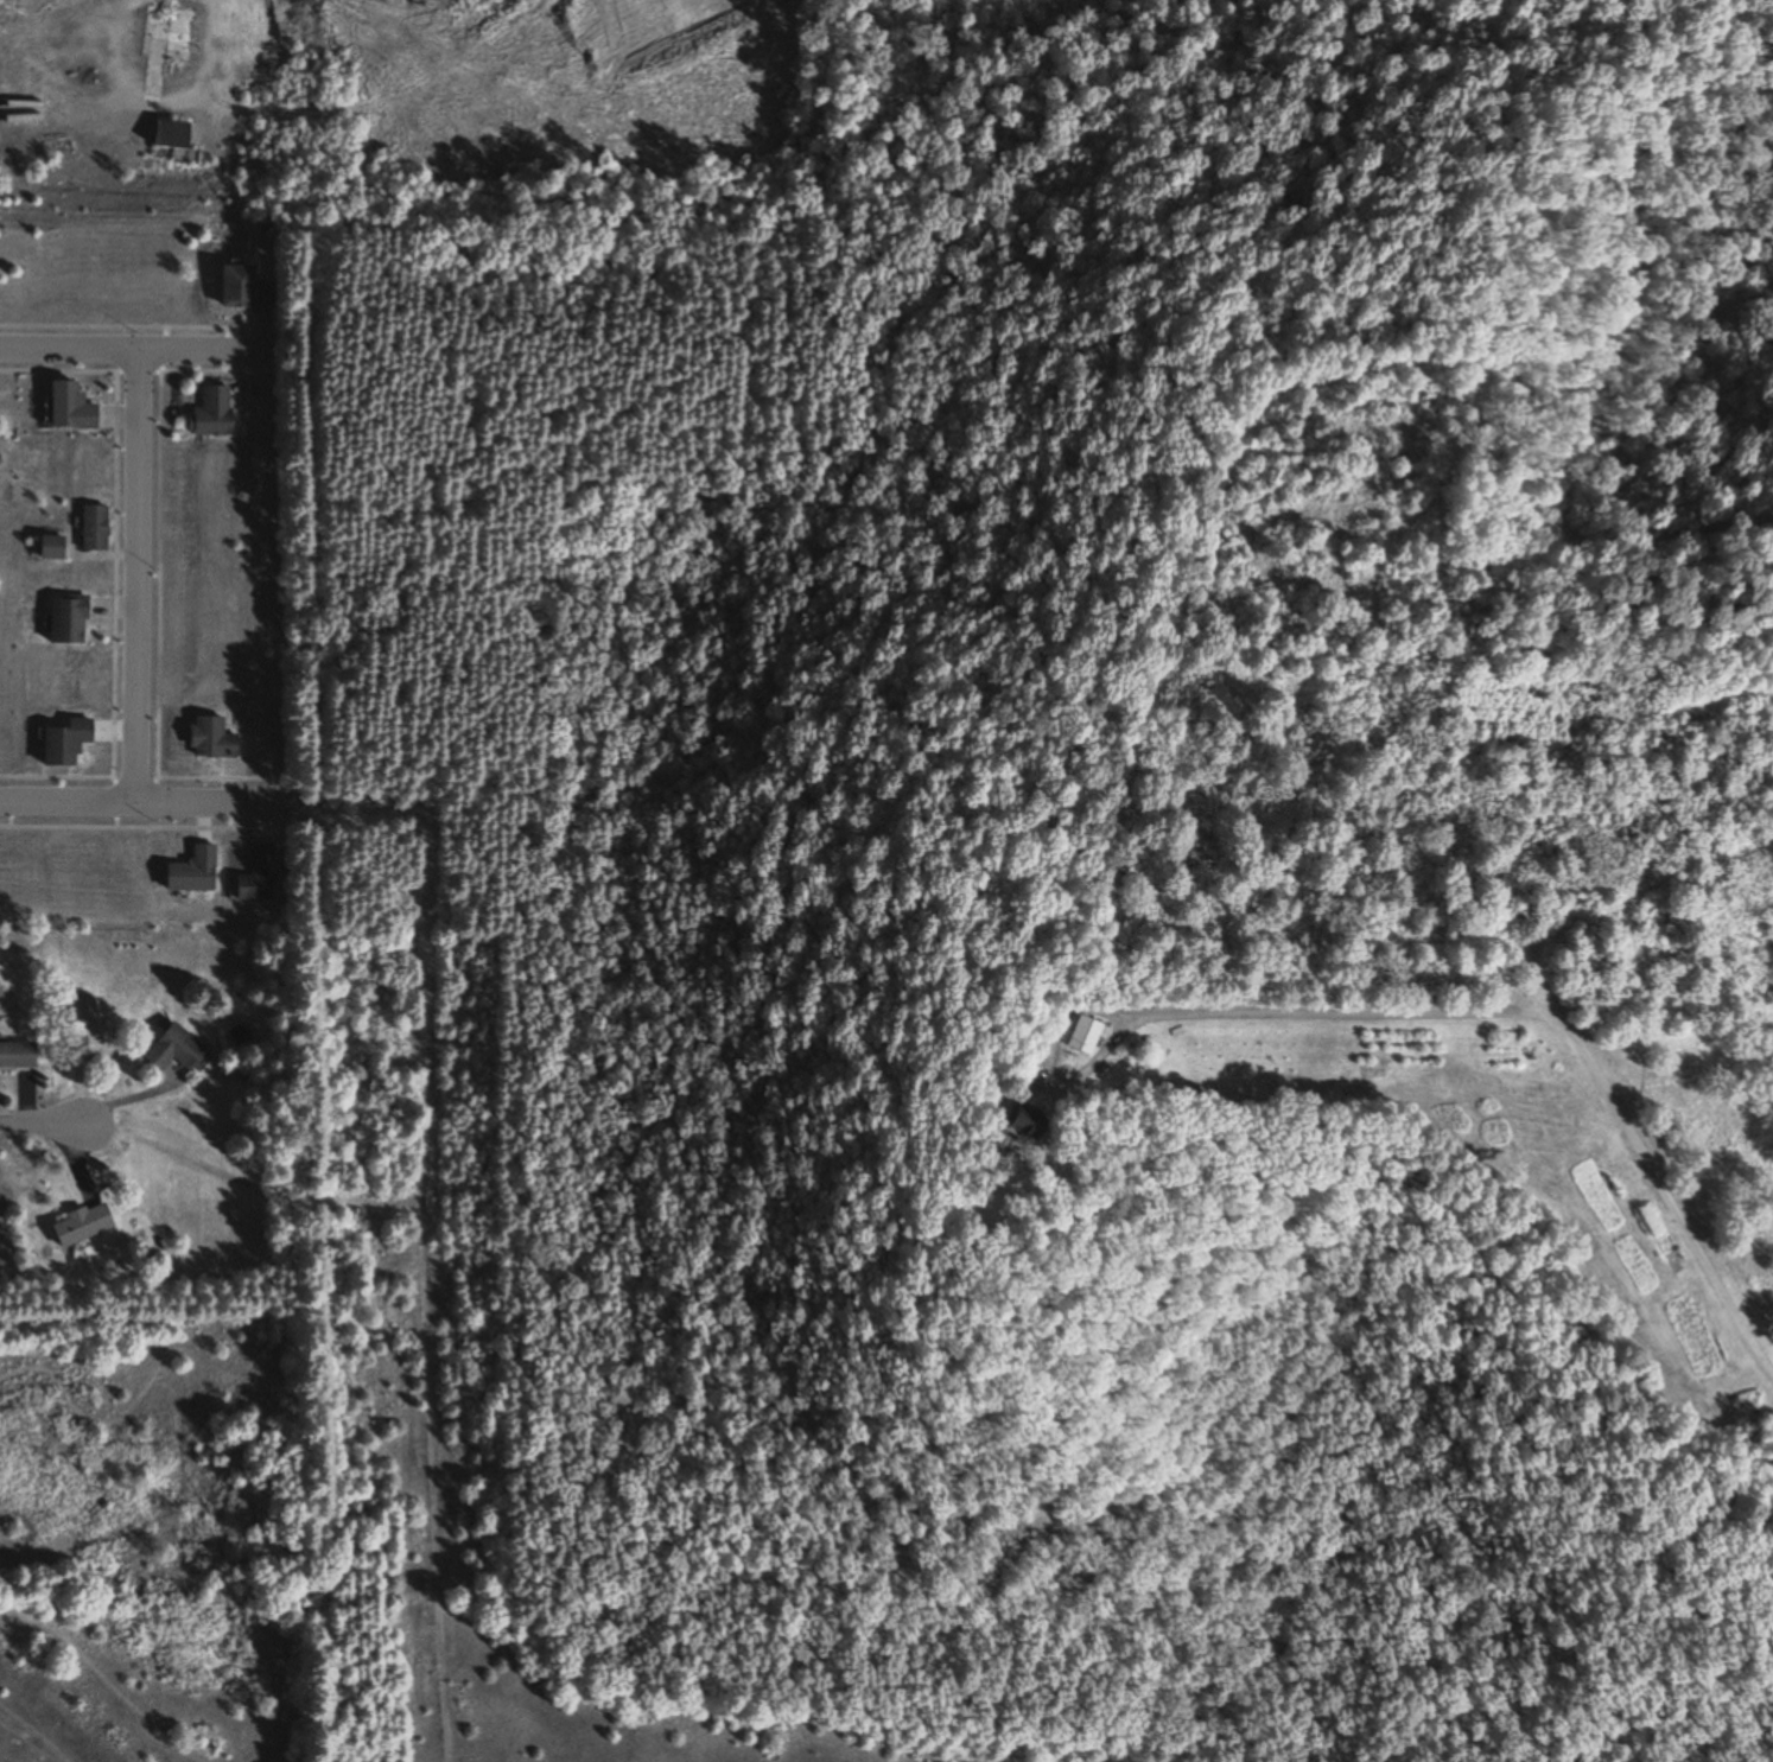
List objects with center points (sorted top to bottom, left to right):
building: (178, 34)
quarry: (233, 93)
building: (171, 134)
road: (134, 348)
building: (212, 412)
building: (91, 528)
building: (50, 547)
road: (140, 573)
building: (65, 619)
building: (210, 738)
road: (139, 797)
building: (192, 871)
building: (256, 874)
building: (1085, 1036)
building: (174, 1049)
building: (17, 1055)
road: (43, 1121)
building: (1025, 1122)
road: (1697, 1213)
building: (81, 1225)

